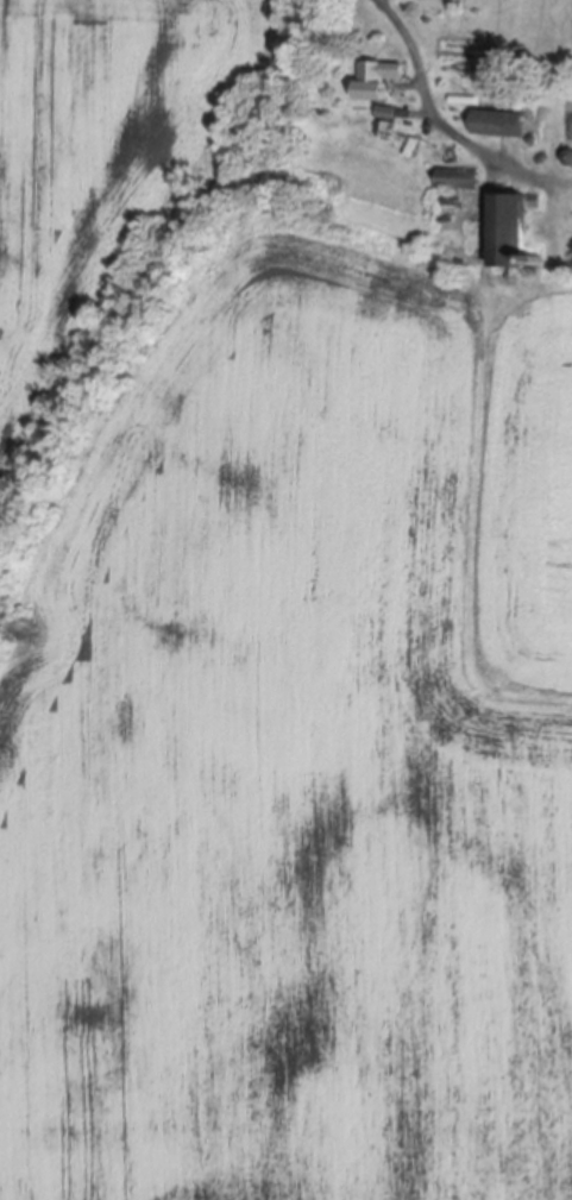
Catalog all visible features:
building: (386, 81)
building: (470, 100)
road: (439, 108)
building: (395, 113)
building: (504, 124)
building: (571, 157)
building: (465, 180)
building: (517, 230)
building: (545, 260)

